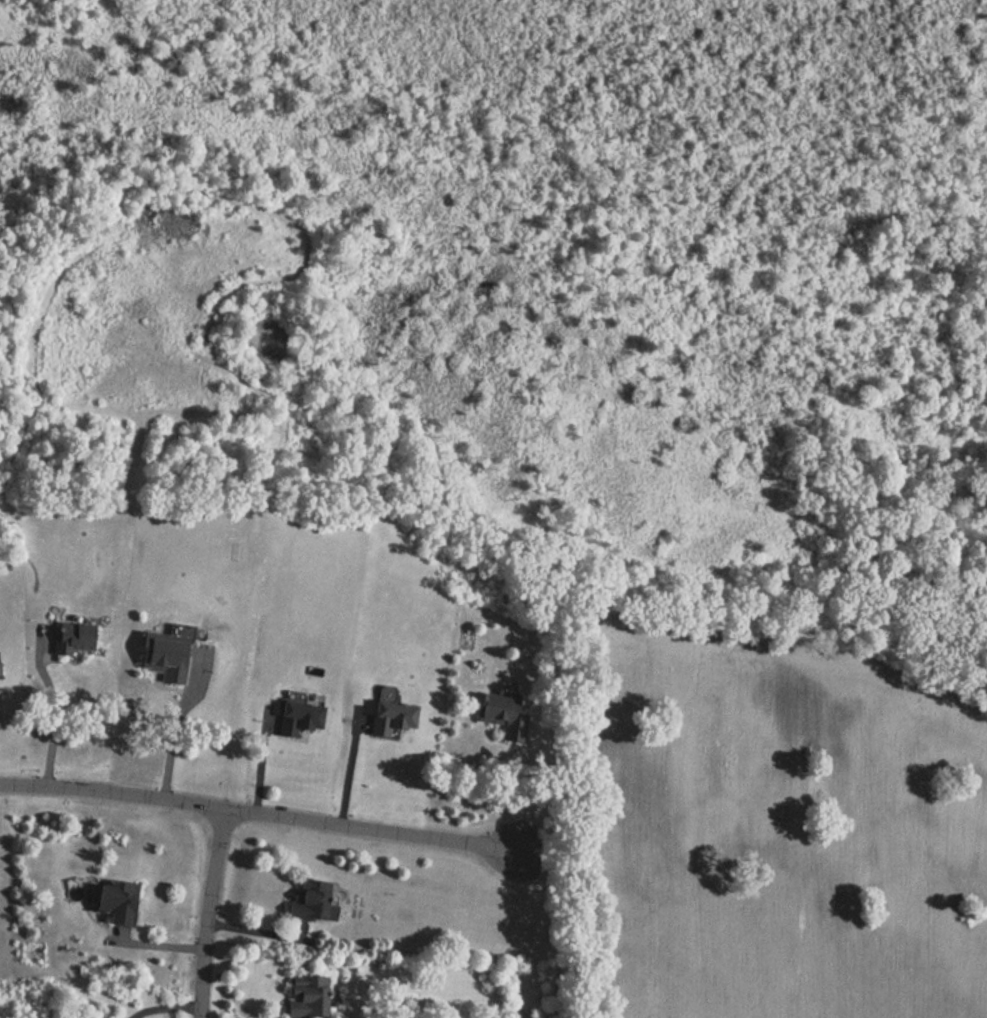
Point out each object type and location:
building: (70, 638)
building: (159, 664)
building: (492, 715)
building: (388, 719)
building: (296, 720)
road: (54, 722)
road: (170, 743)
road: (260, 761)
road: (349, 774)
road: (522, 795)
road: (257, 815)
building: (112, 901)
building: (311, 901)
road: (212, 914)
road: (158, 945)
building: (304, 995)
road: (171, 1011)

